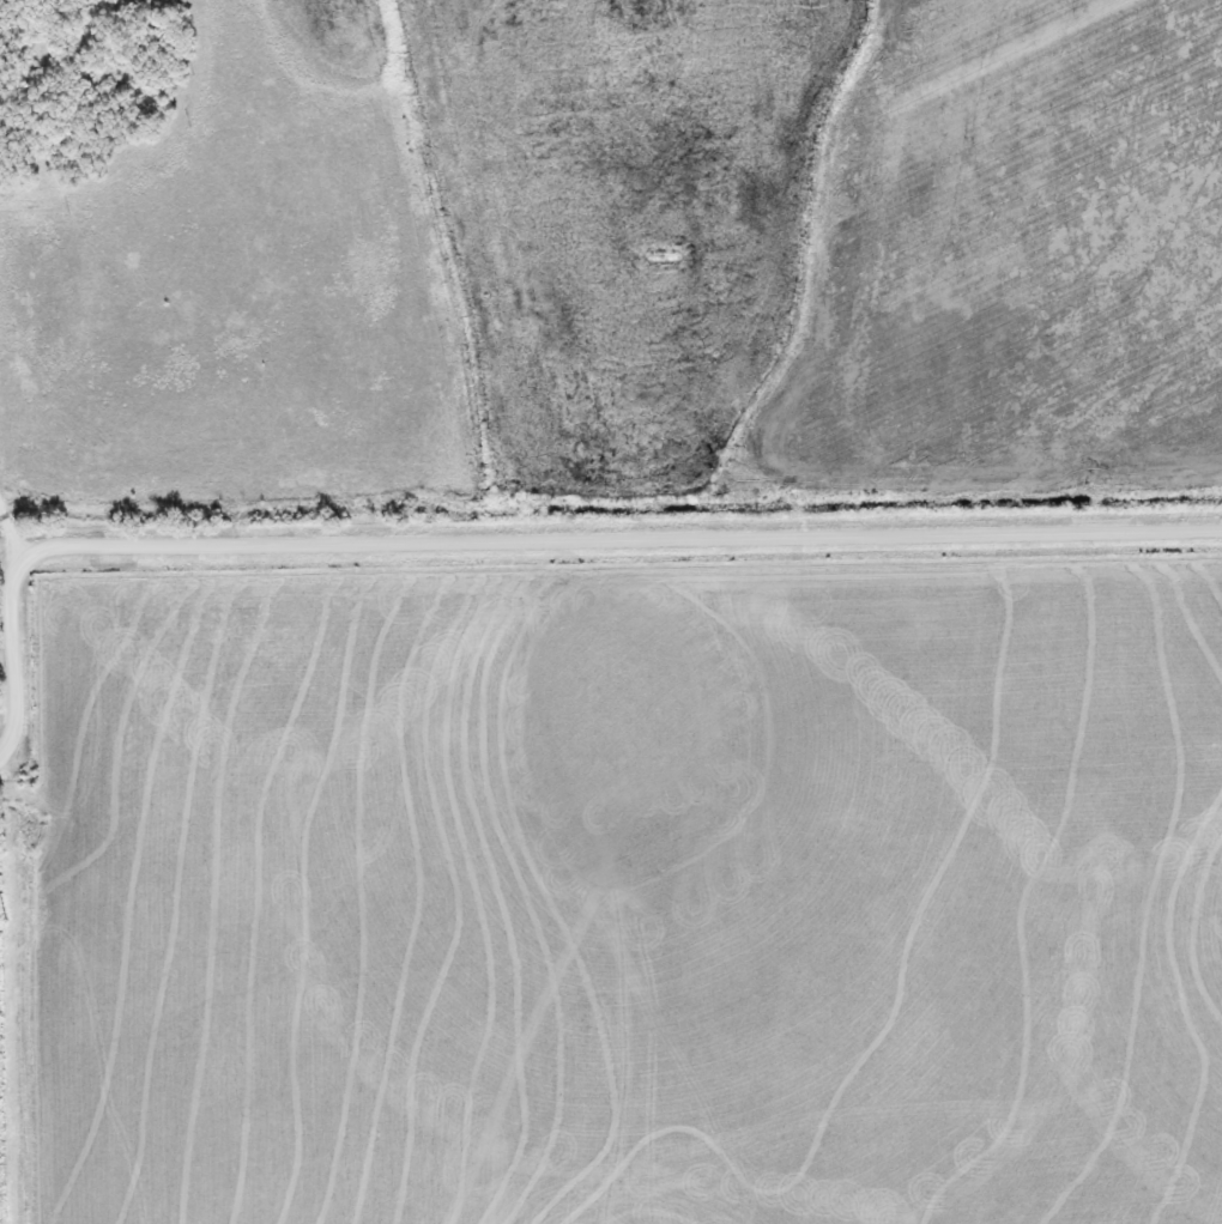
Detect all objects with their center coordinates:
road: (13, 523)
road: (624, 539)
road: (14, 652)

